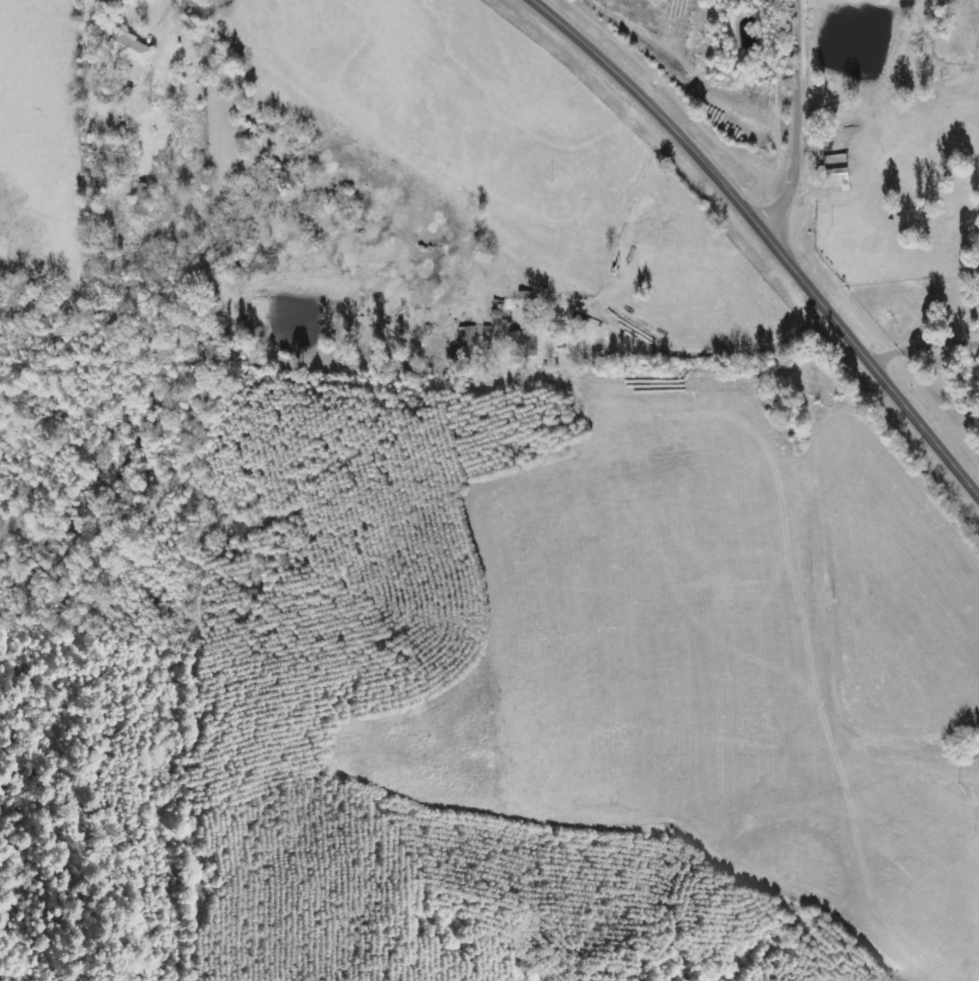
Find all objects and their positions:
building: (133, 47)
road: (804, 122)
building: (840, 171)
building: (145, 200)
road: (767, 236)
building: (519, 347)

